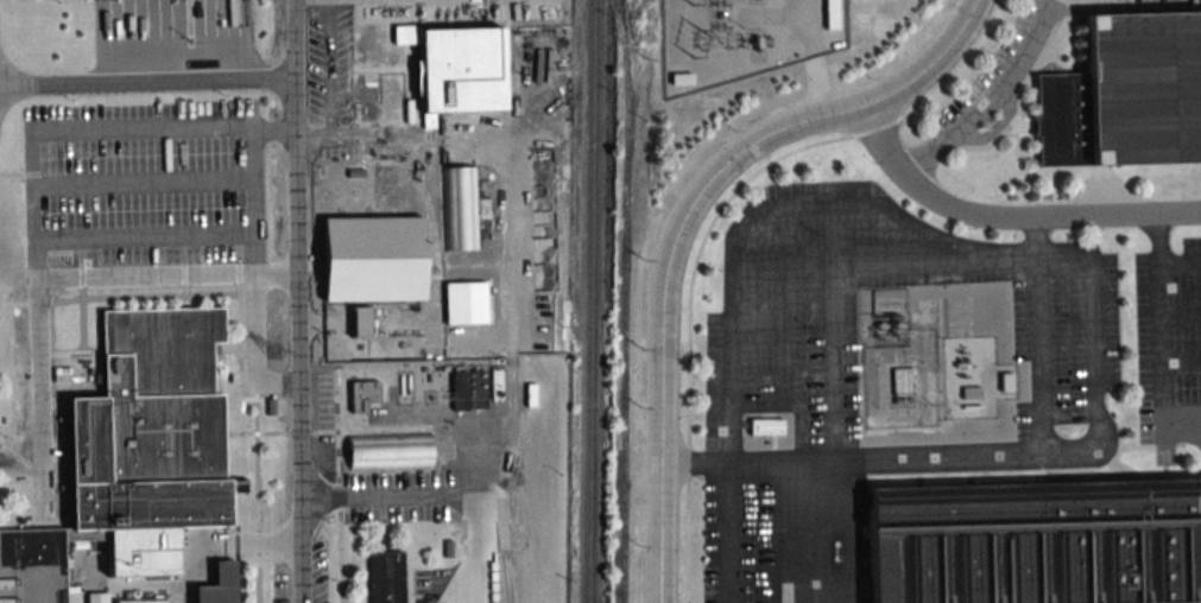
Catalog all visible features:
building: (830, 14)
road: (769, 15)
road: (677, 30)
road: (804, 30)
power substation: (744, 38)
road: (329, 68)
building: (456, 68)
building: (681, 77)
road: (148, 82)
road: (821, 87)
building: (1127, 94)
road: (987, 95)
road: (140, 128)
road: (274, 131)
road: (366, 134)
building: (385, 182)
road: (144, 184)
parking lot: (143, 185)
building: (460, 208)
road: (1007, 216)
road: (685, 221)
road: (713, 223)
road: (1036, 236)
road: (145, 237)
road: (1159, 240)
road: (1061, 254)
building: (372, 258)
road: (885, 258)
road: (78, 278)
road: (733, 296)
road: (299, 300)
railway: (592, 300)
railway: (626, 300)
building: (464, 301)
road: (1181, 311)
building: (360, 320)
road: (1161, 339)
parking lot: (1169, 347)
road: (257, 349)
power tower: (276, 353)
road: (785, 358)
road: (832, 358)
road: (1181, 364)
building: (903, 381)
power substation: (931, 381)
building: (474, 386)
building: (531, 389)
building: (362, 394)
building: (765, 426)
road: (1195, 429)
building: (388, 450)
building: (134, 456)
road: (878, 456)
road: (21, 458)
road: (733, 461)
road: (43, 488)
road: (444, 494)
building: (1038, 540)
building: (385, 577)
railway: (508, 577)
building: (215, 585)
building: (97, 597)
railway: (693, 602)

